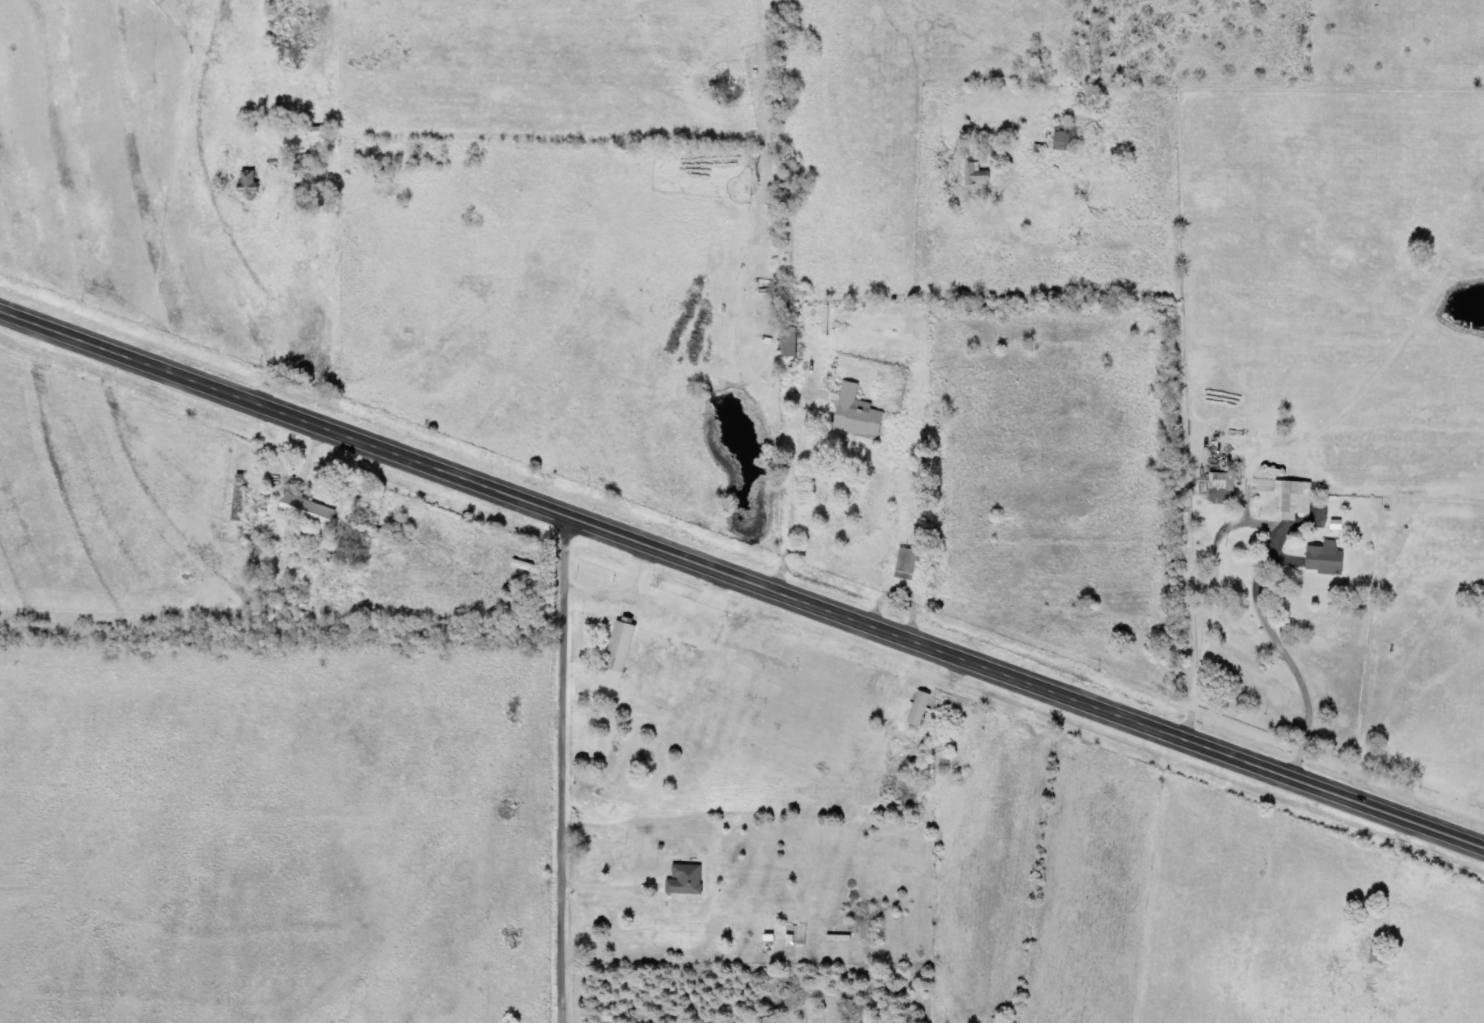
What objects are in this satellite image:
building: (322, 133)
building: (1069, 138)
building: (980, 176)
building: (794, 343)
road: (1173, 386)
building: (862, 414)
building: (1228, 490)
building: (1301, 498)
building: (243, 499)
building: (313, 513)
building: (1332, 560)
building: (912, 565)
road: (741, 585)
building: (623, 656)
building: (925, 709)
road: (564, 771)
building: (691, 880)

